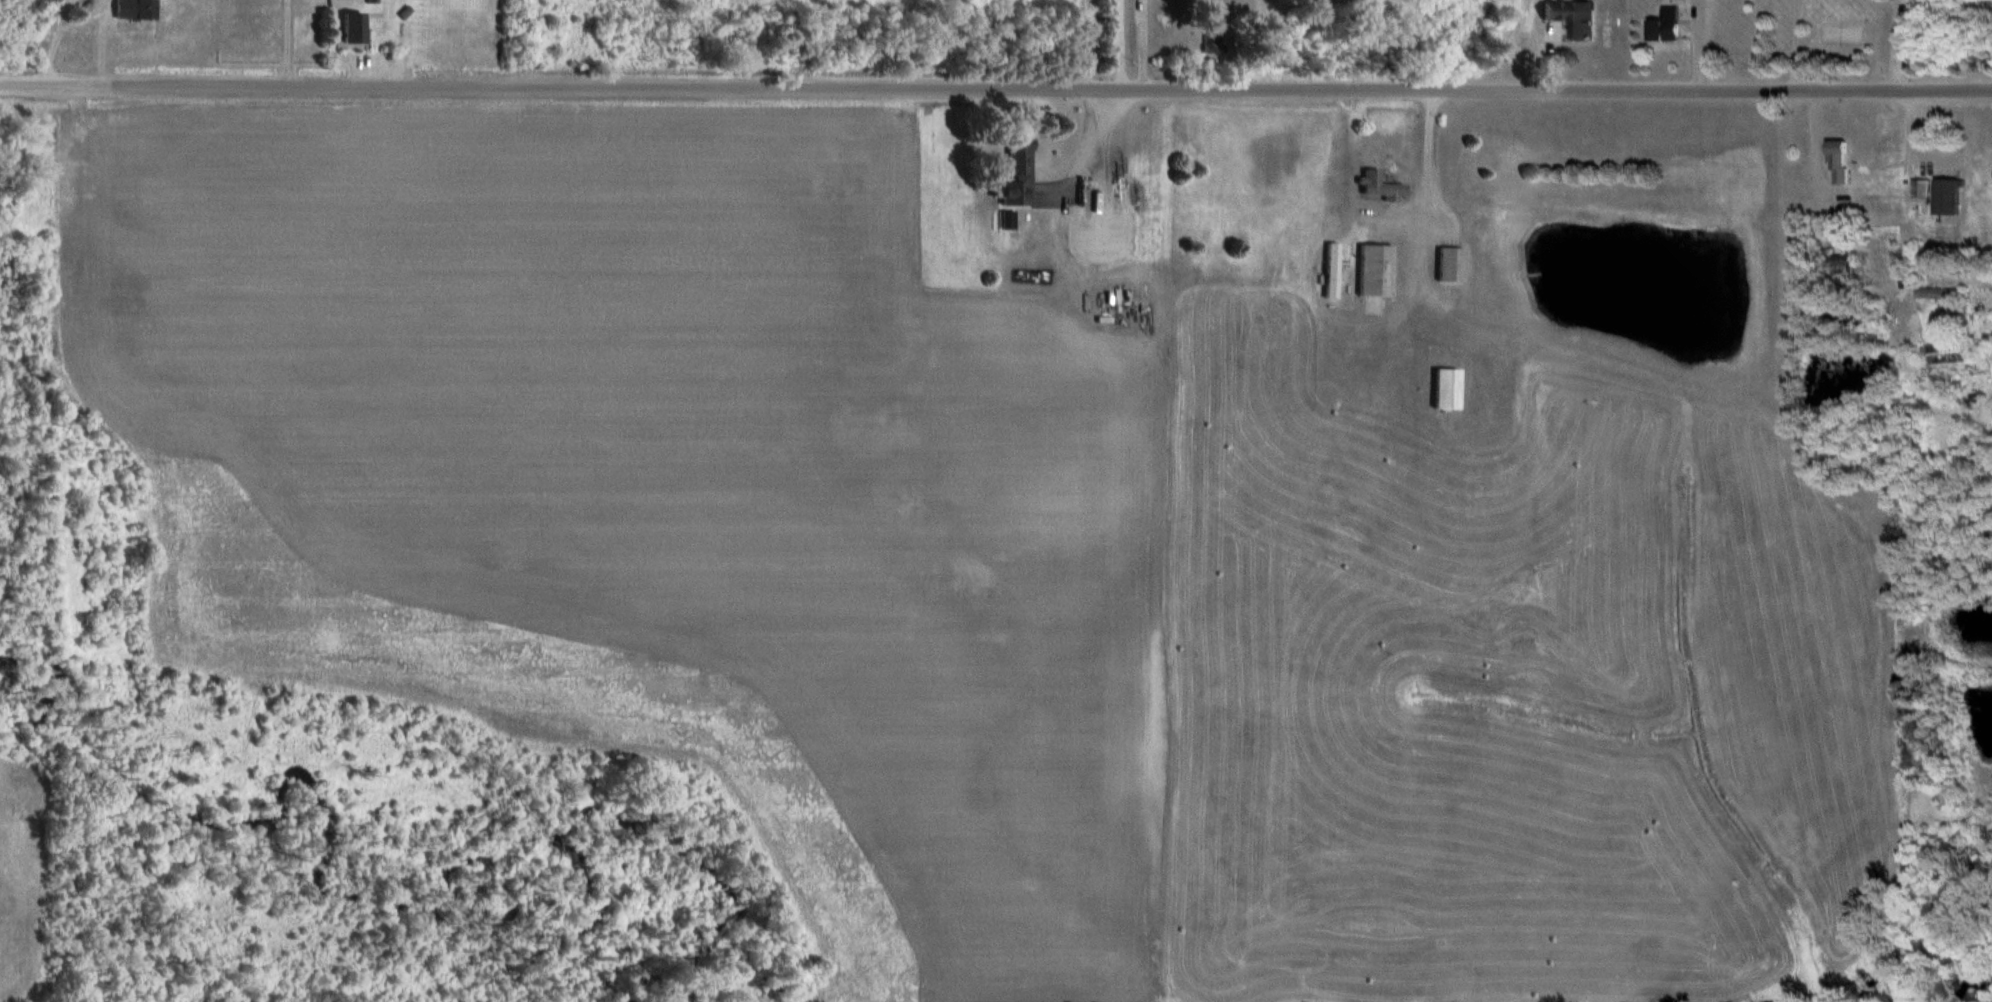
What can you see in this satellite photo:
building: (137, 10)
building: (1575, 18)
building: (1668, 26)
building: (355, 29)
road: (1083, 43)
road: (1124, 44)
road: (1899, 45)
road: (996, 86)
road: (1090, 150)
building: (1020, 155)
building: (1841, 163)
building: (1384, 188)
building: (1014, 192)
building: (1922, 193)
building: (1951, 198)
building: (1103, 213)
building: (1453, 265)
building: (1378, 271)
building: (1961, 295)
building: (1450, 390)

